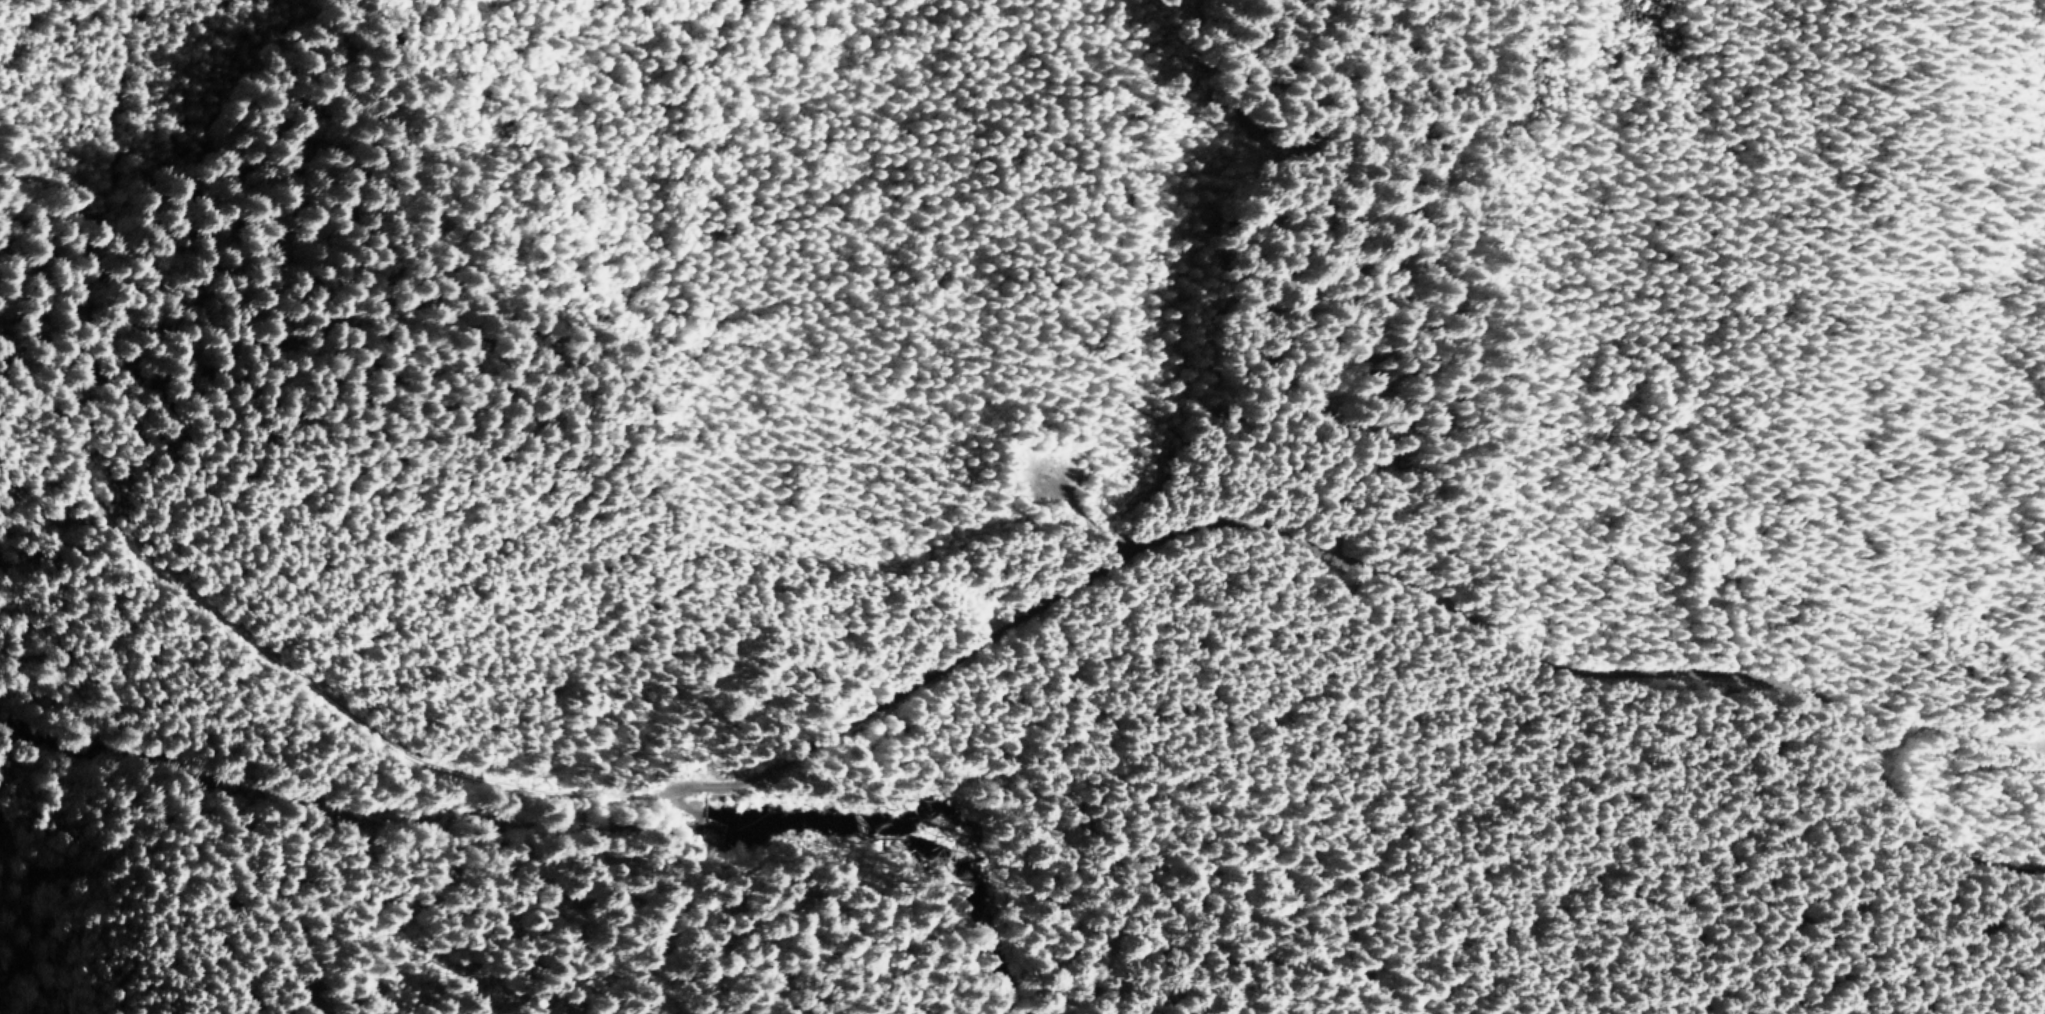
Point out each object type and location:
road: (861, 278)

